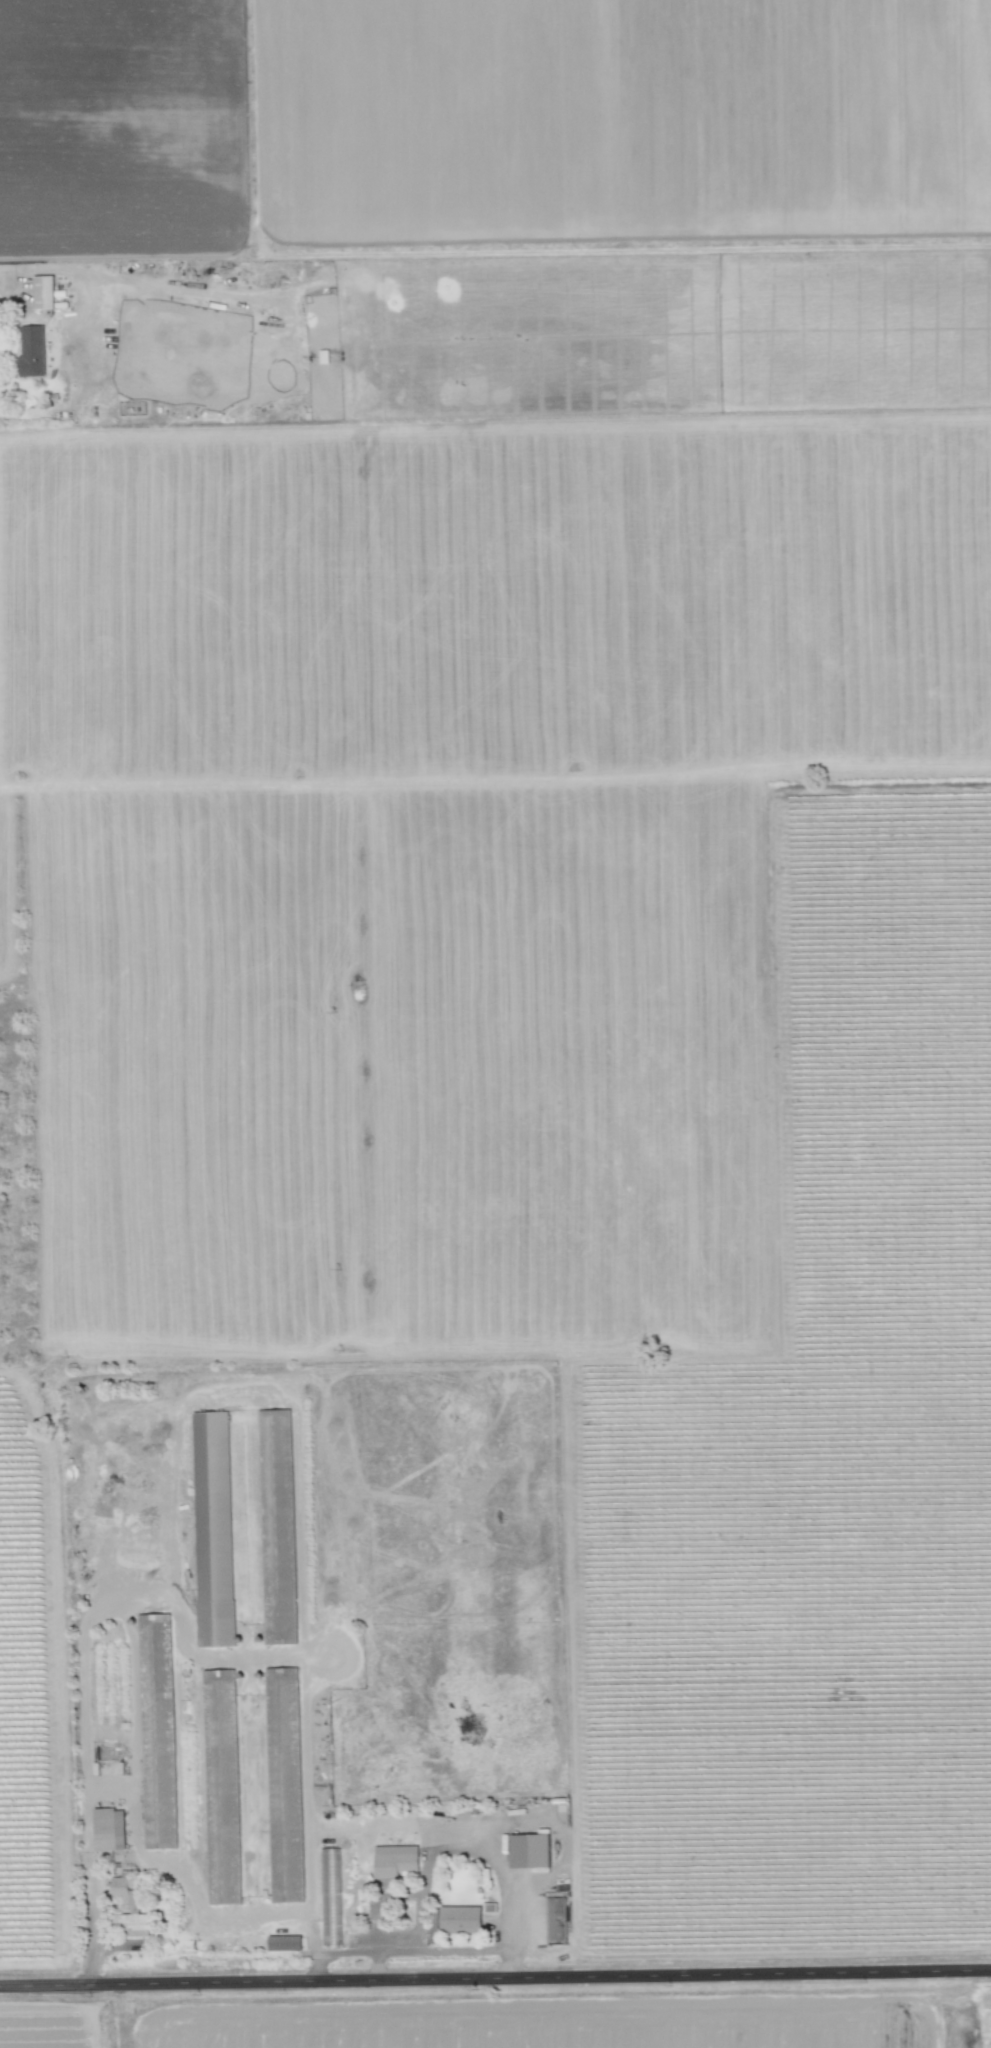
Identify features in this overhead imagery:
building: (42, 292)
building: (31, 351)
building: (212, 1529)
building: (281, 1705)
building: (156, 1731)
road: (131, 1827)
building: (108, 1829)
road: (433, 1851)
building: (529, 1851)
building: (394, 1860)
building: (330, 1895)
building: (130, 1908)
building: (460, 1919)
building: (284, 1943)
road: (355, 1953)
road: (376, 1968)
road: (495, 1983)

